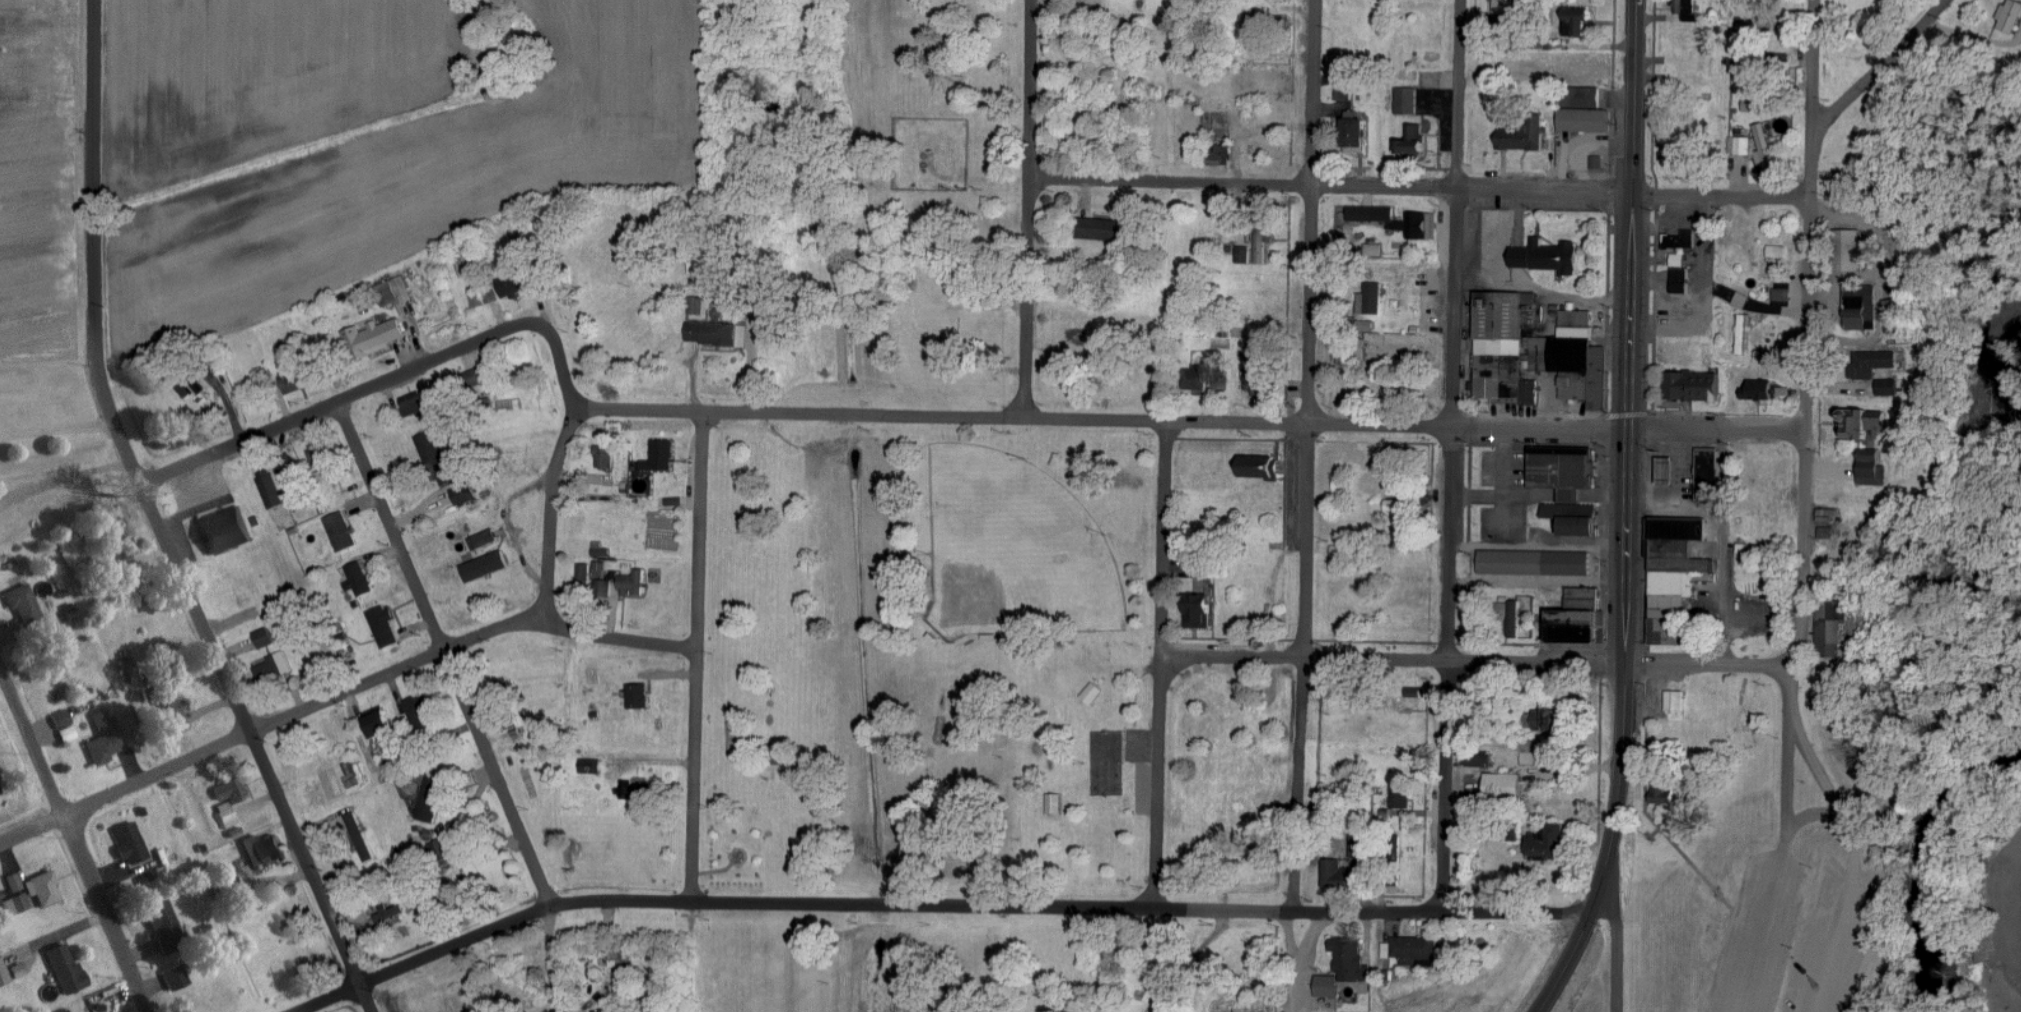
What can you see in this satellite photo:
building: (1504, 7)
building: (1685, 7)
road: (121, 12)
building: (2010, 17)
building: (1260, 23)
building: (1580, 23)
road: (1881, 40)
building: (1782, 59)
building: (1344, 88)
building: (1584, 97)
building: (1407, 102)
building: (1755, 106)
building: (1585, 121)
building: (1356, 136)
building: (1525, 137)
building: (1413, 142)
road: (46, 144)
building: (1740, 146)
building: (1765, 149)
building: (1597, 162)
road: (1419, 189)
road: (1029, 209)
building: (1370, 215)
building: (1421, 224)
building: (1103, 230)
building: (1679, 239)
building: (1262, 240)
building: (1848, 249)
building: (1776, 251)
building: (1243, 255)
building: (1548, 256)
building: (1678, 259)
building: (704, 262)
building: (1681, 280)
building: (511, 285)
building: (393, 291)
building: (1783, 294)
building: (483, 298)
building: (1371, 298)
building: (695, 305)
building: (1861, 306)
building: (1898, 314)
building: (374, 337)
road: (1806, 337)
building: (1260, 352)
building: (1536, 352)
building: (1347, 353)
building: (1871, 363)
building: (1196, 379)
building: (1259, 379)
road: (386, 380)
building: (295, 383)
building: (1694, 385)
building: (1888, 387)
building: (1759, 389)
building: (412, 403)
road: (1189, 421)
building: (1862, 422)
road: (57, 430)
building: (660, 455)
building: (604, 456)
road: (1452, 456)
building: (316, 458)
building: (436, 458)
road: (1627, 458)
road: (1675, 463)
building: (1260, 466)
building: (287, 467)
building: (1872, 469)
building: (1707, 474)
building: (1567, 485)
building: (270, 488)
building: (464, 494)
building: (1414, 500)
building: (1393, 505)
road: (1309, 506)
building: (1827, 514)
road: (555, 515)
road: (157, 522)
building: (223, 530)
building: (341, 531)
building: (115, 533)
building: (482, 539)
road: (1722, 541)
building: (599, 551)
building: (1341, 559)
building: (1535, 562)
building: (484, 566)
building: (1677, 569)
building: (584, 574)
building: (360, 578)
building: (632, 583)
building: (602, 589)
building: (22, 603)
building: (1199, 610)
building: (1580, 617)
building: (1515, 619)
building: (384, 626)
building: (1831, 628)
building: (263, 637)
road: (446, 653)
road: (695, 658)
road: (1473, 662)
road: (1160, 664)
building: (272, 667)
road: (340, 692)
building: (1413, 692)
building: (1092, 693)
road: (1788, 693)
building: (637, 695)
building: (1675, 700)
building: (169, 709)
building: (420, 714)
building: (1547, 720)
building: (378, 723)
building: (63, 726)
building: (103, 737)
building: (1534, 751)
building: (395, 762)
building: (1480, 762)
building: (590, 766)
building: (1504, 785)
building: (229, 790)
building: (636, 790)
building: (1662, 793)
building: (1401, 798)
building: (430, 800)
building: (1054, 803)
building: (225, 815)
road: (73, 837)
building: (1361, 843)
building: (1551, 844)
building: (132, 849)
building: (261, 849)
building: (440, 850)
road: (1856, 856)
road: (1783, 866)
building: (1337, 875)
building: (12, 882)
building: (41, 888)
building: (15, 904)
road: (934, 909)
building: (390, 915)
building: (163, 926)
building: (1415, 948)
road: (1618, 948)
building: (617, 958)
road: (552, 959)
building: (1352, 960)
road: (1566, 963)
building: (63, 968)
building: (16, 970)
building: (2, 975)
building: (173, 978)
building: (1328, 985)
building: (62, 1010)

